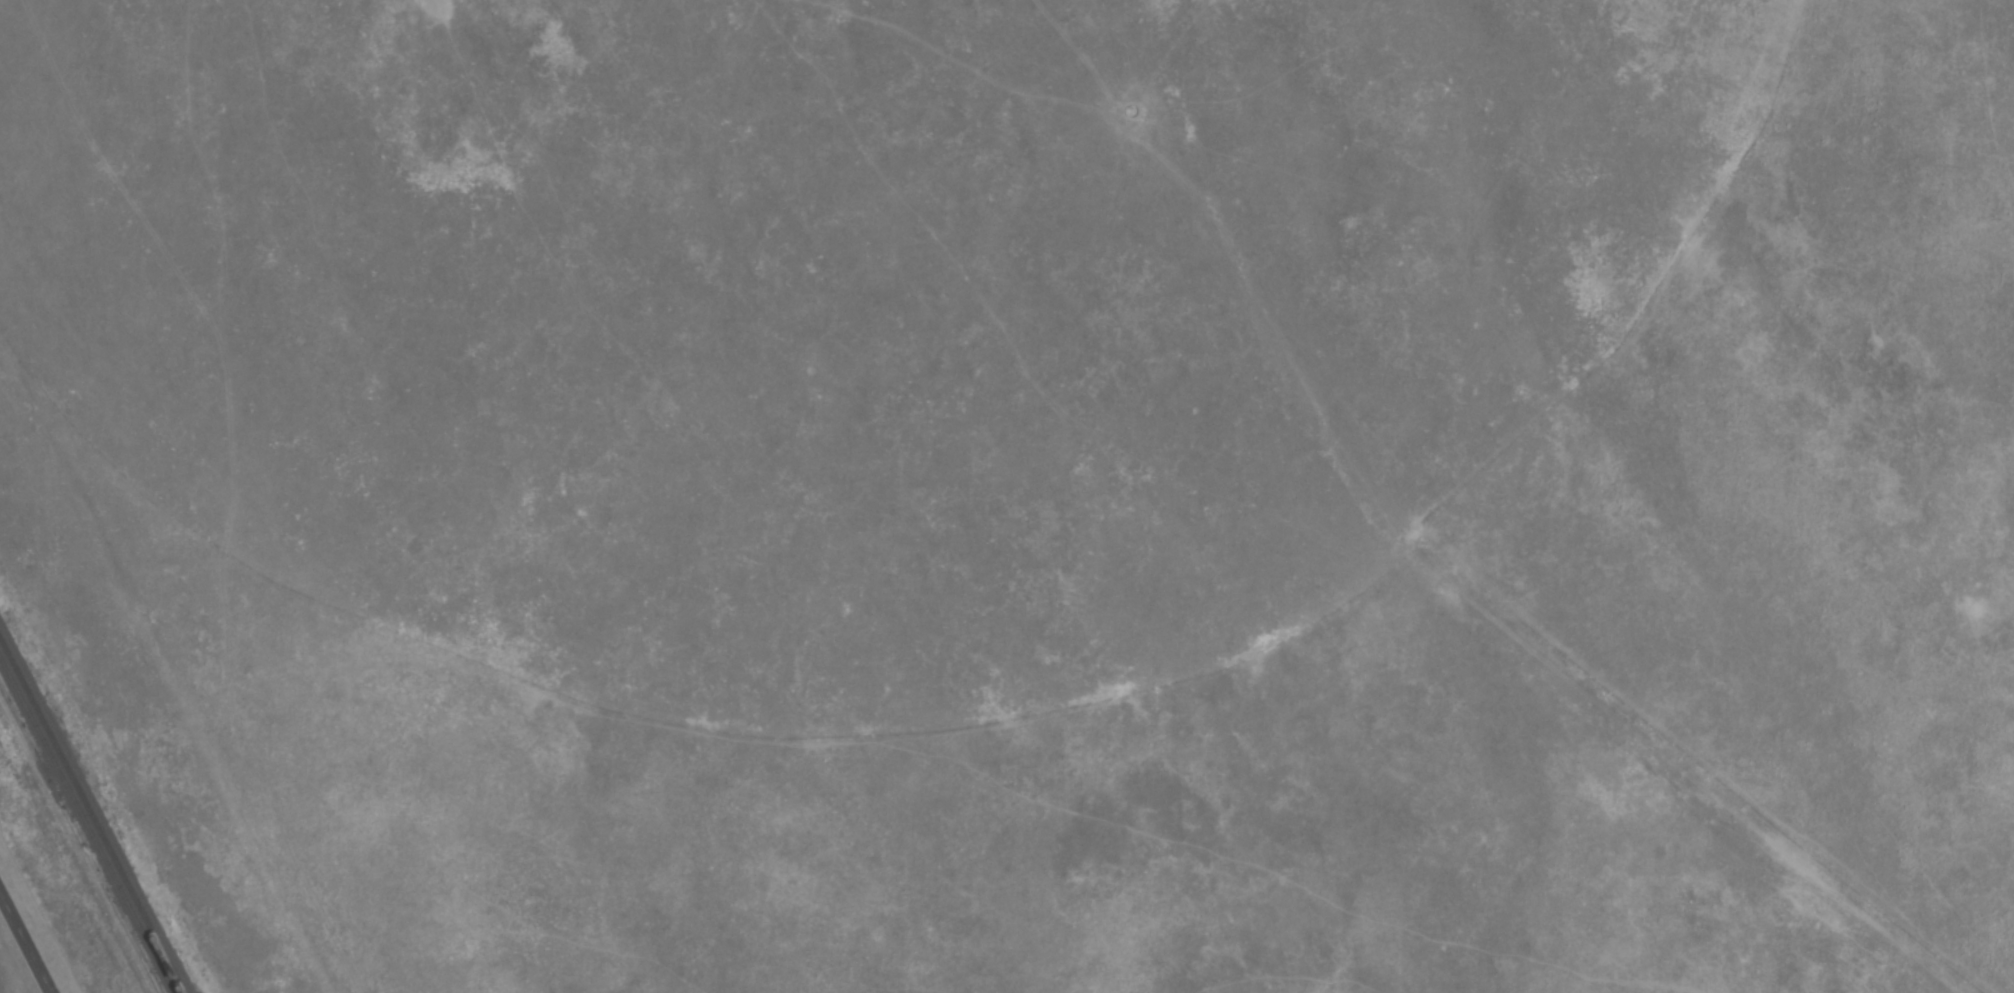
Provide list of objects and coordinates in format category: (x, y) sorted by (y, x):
railway: (93, 812)
railway: (87, 823)
road: (26, 942)

